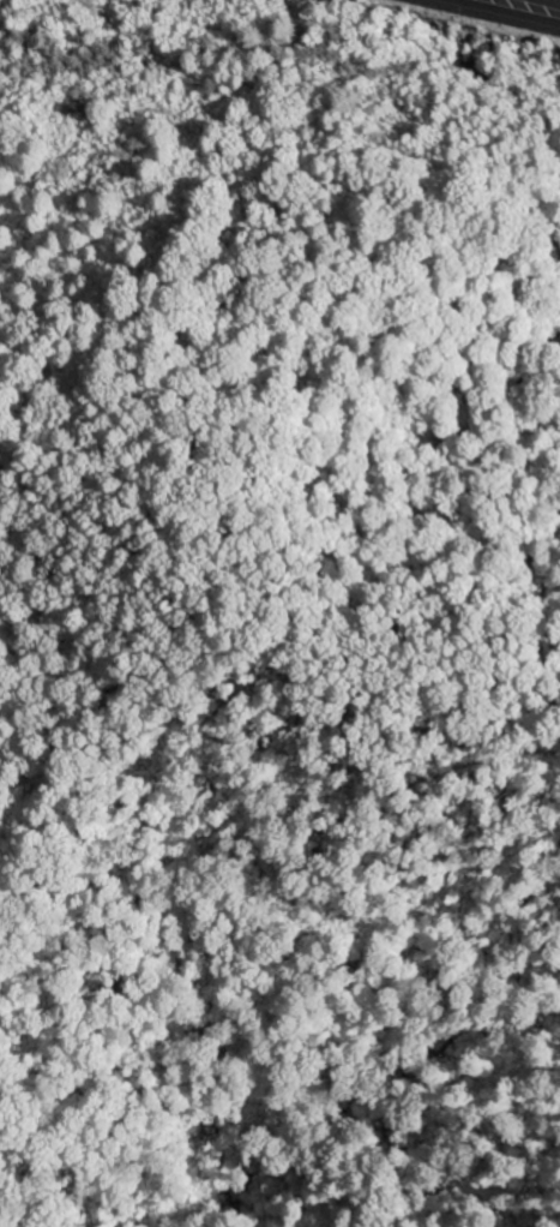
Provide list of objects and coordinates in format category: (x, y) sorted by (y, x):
road: (553, 1)
road: (526, 7)

